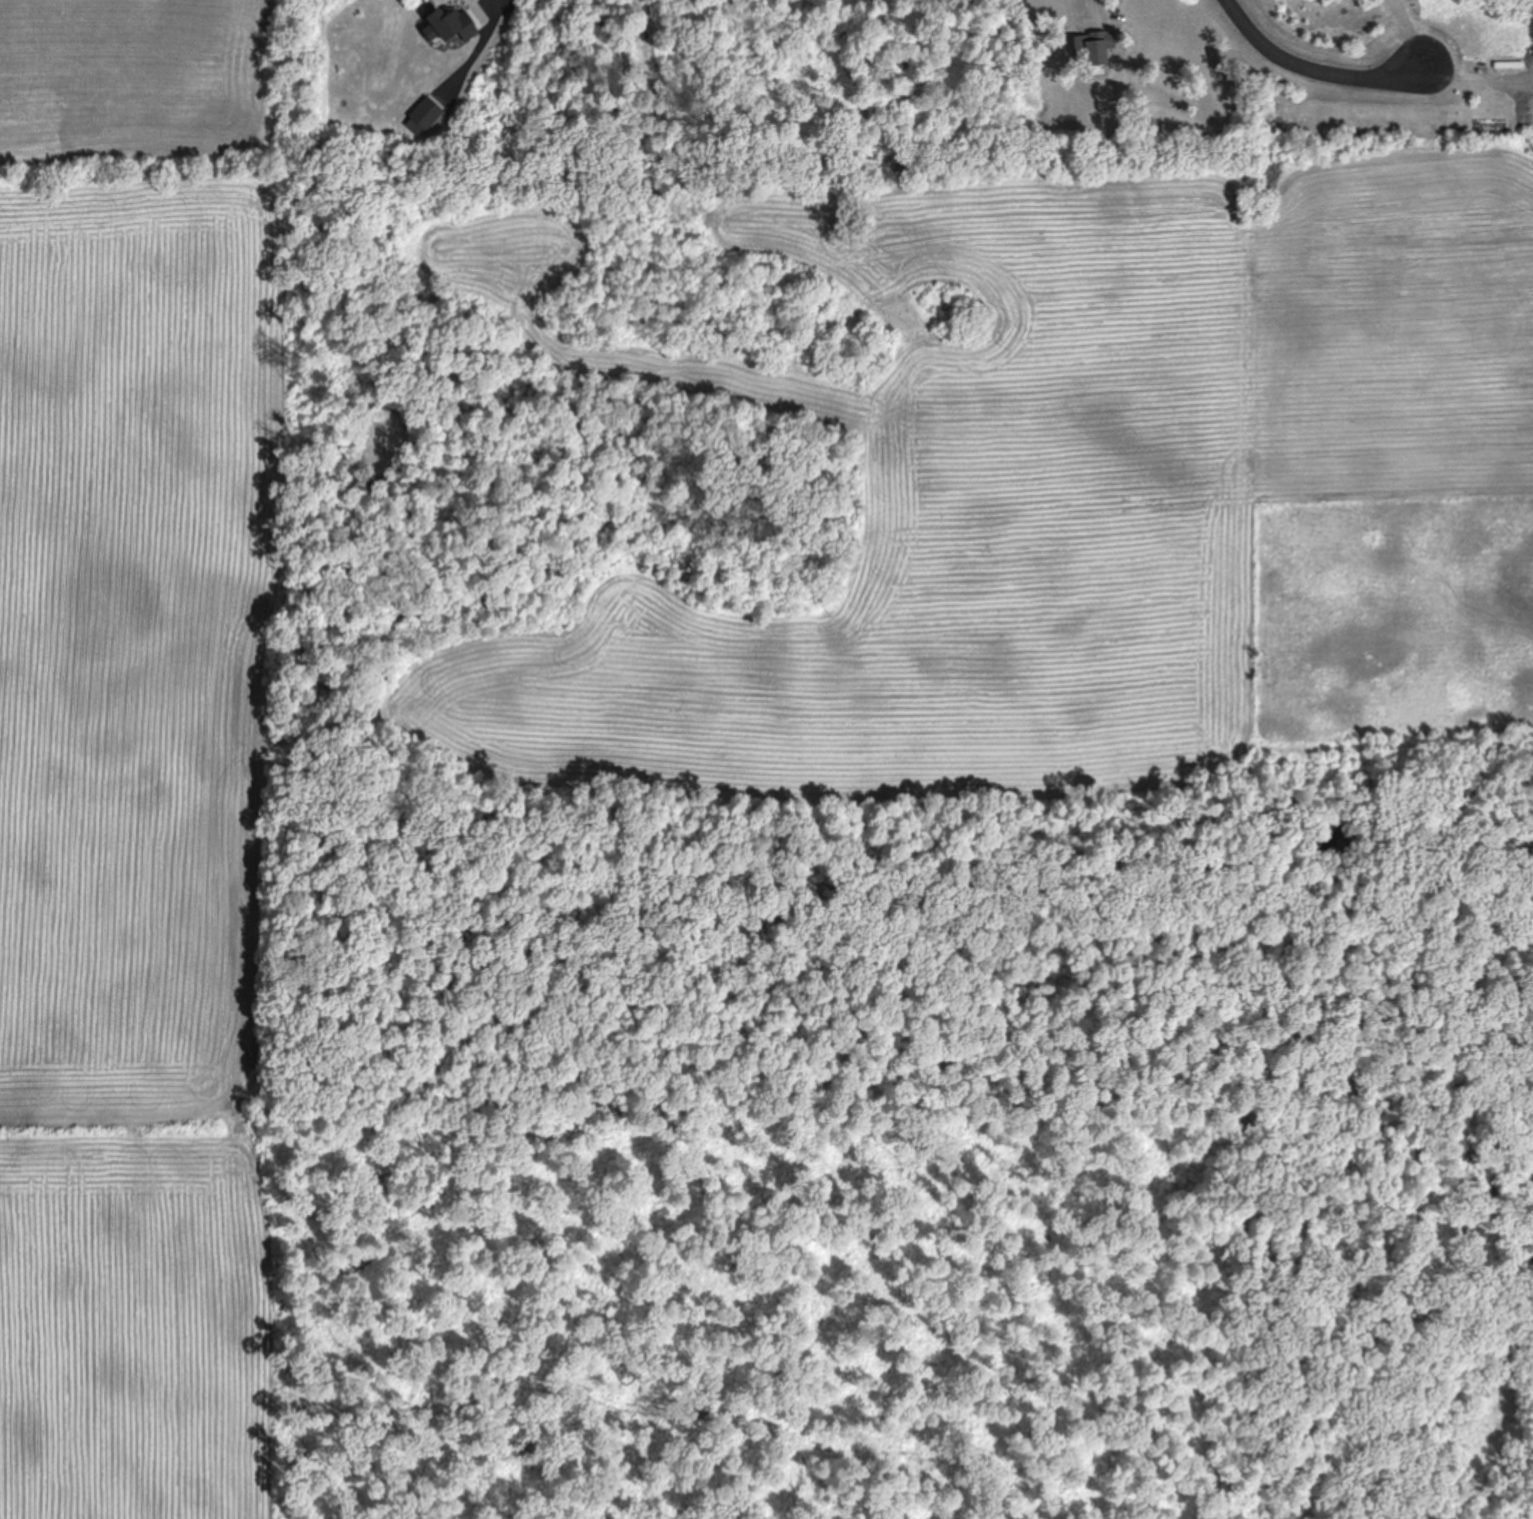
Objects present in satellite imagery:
building: (451, 28)
building: (1089, 53)
road: (1318, 69)
crop: (146, 86)
building: (428, 114)

